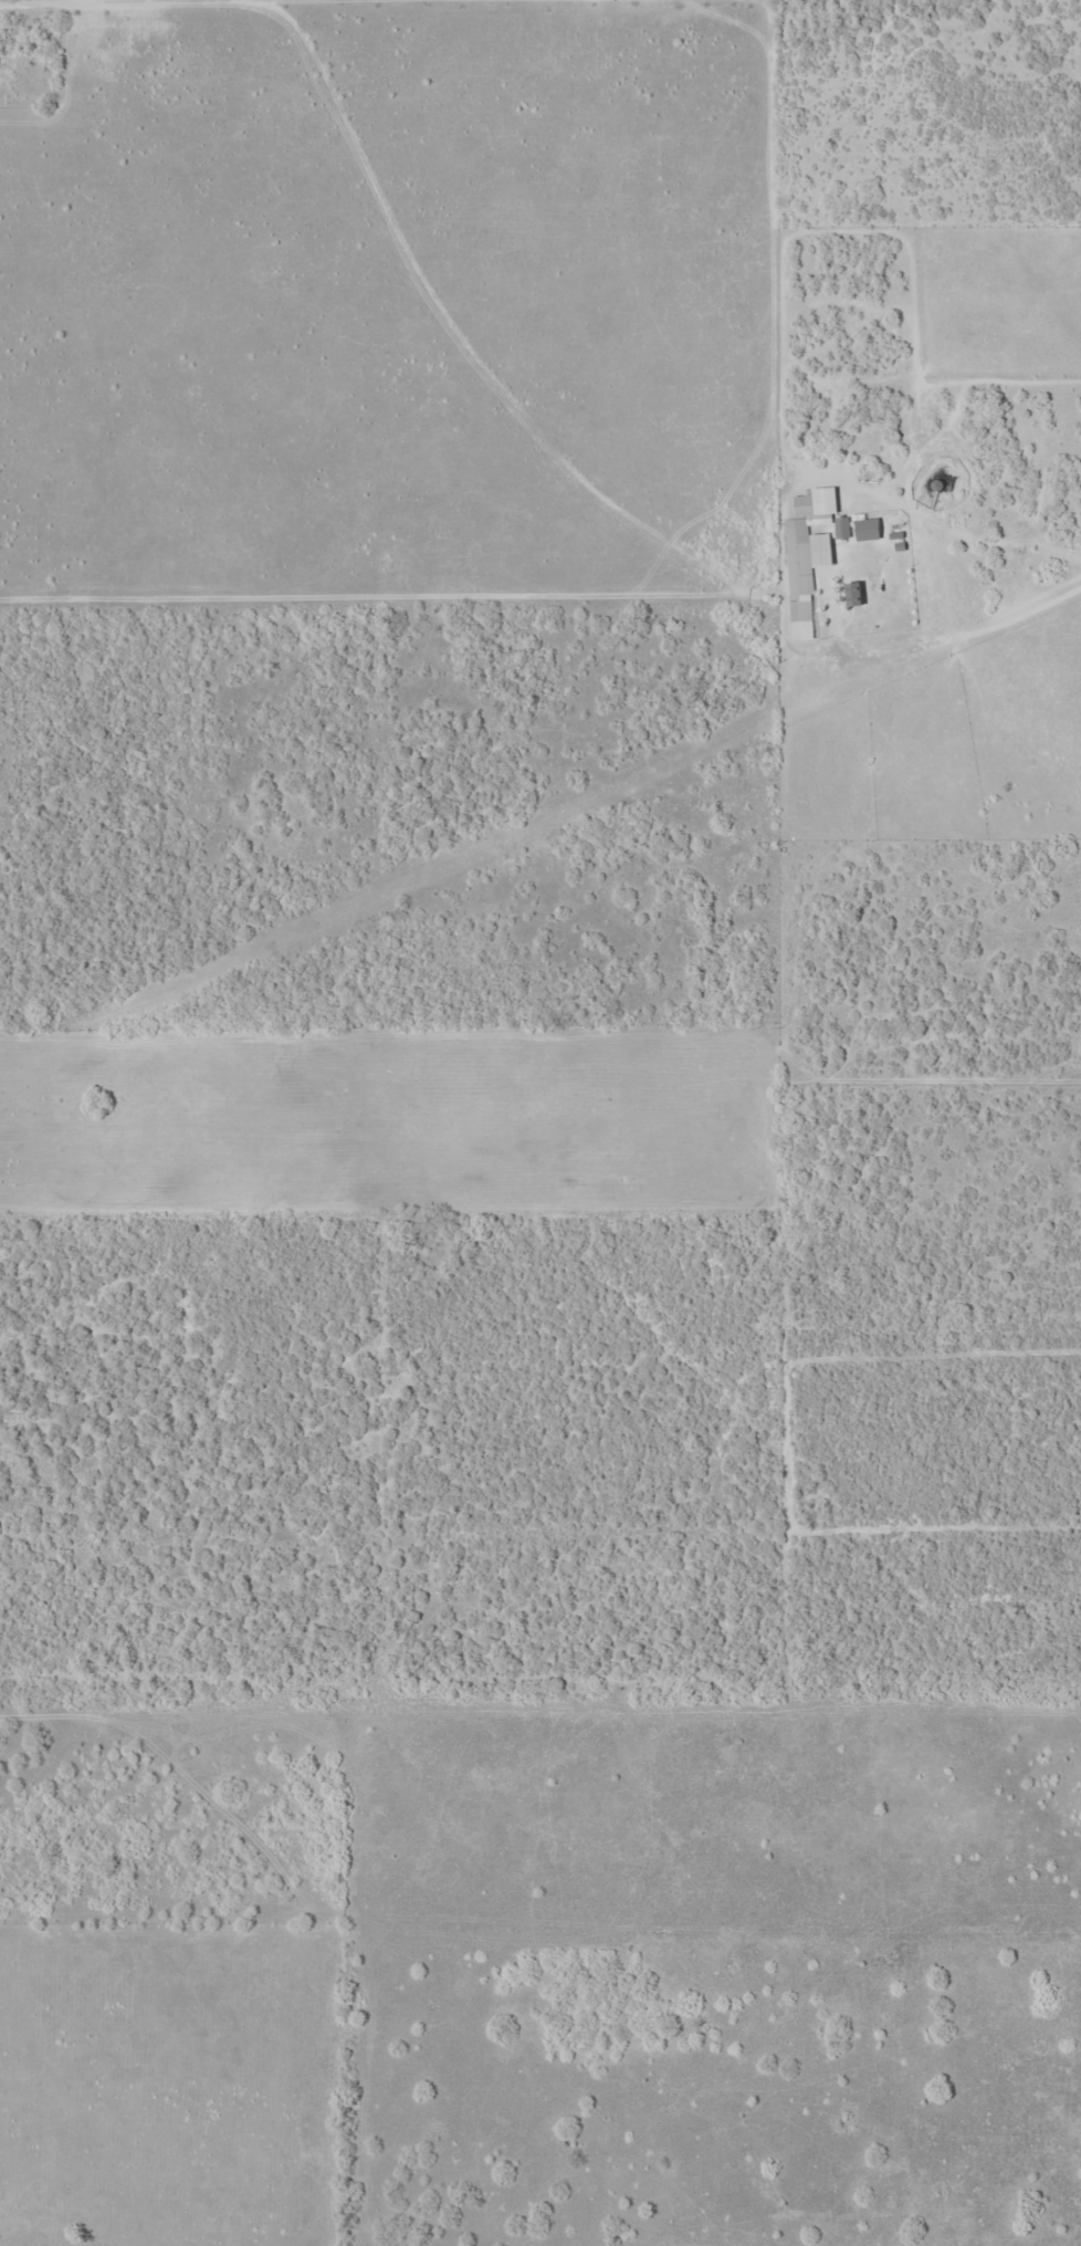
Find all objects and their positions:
building: (821, 549)
road: (357, 2023)
road: (724, 2214)

